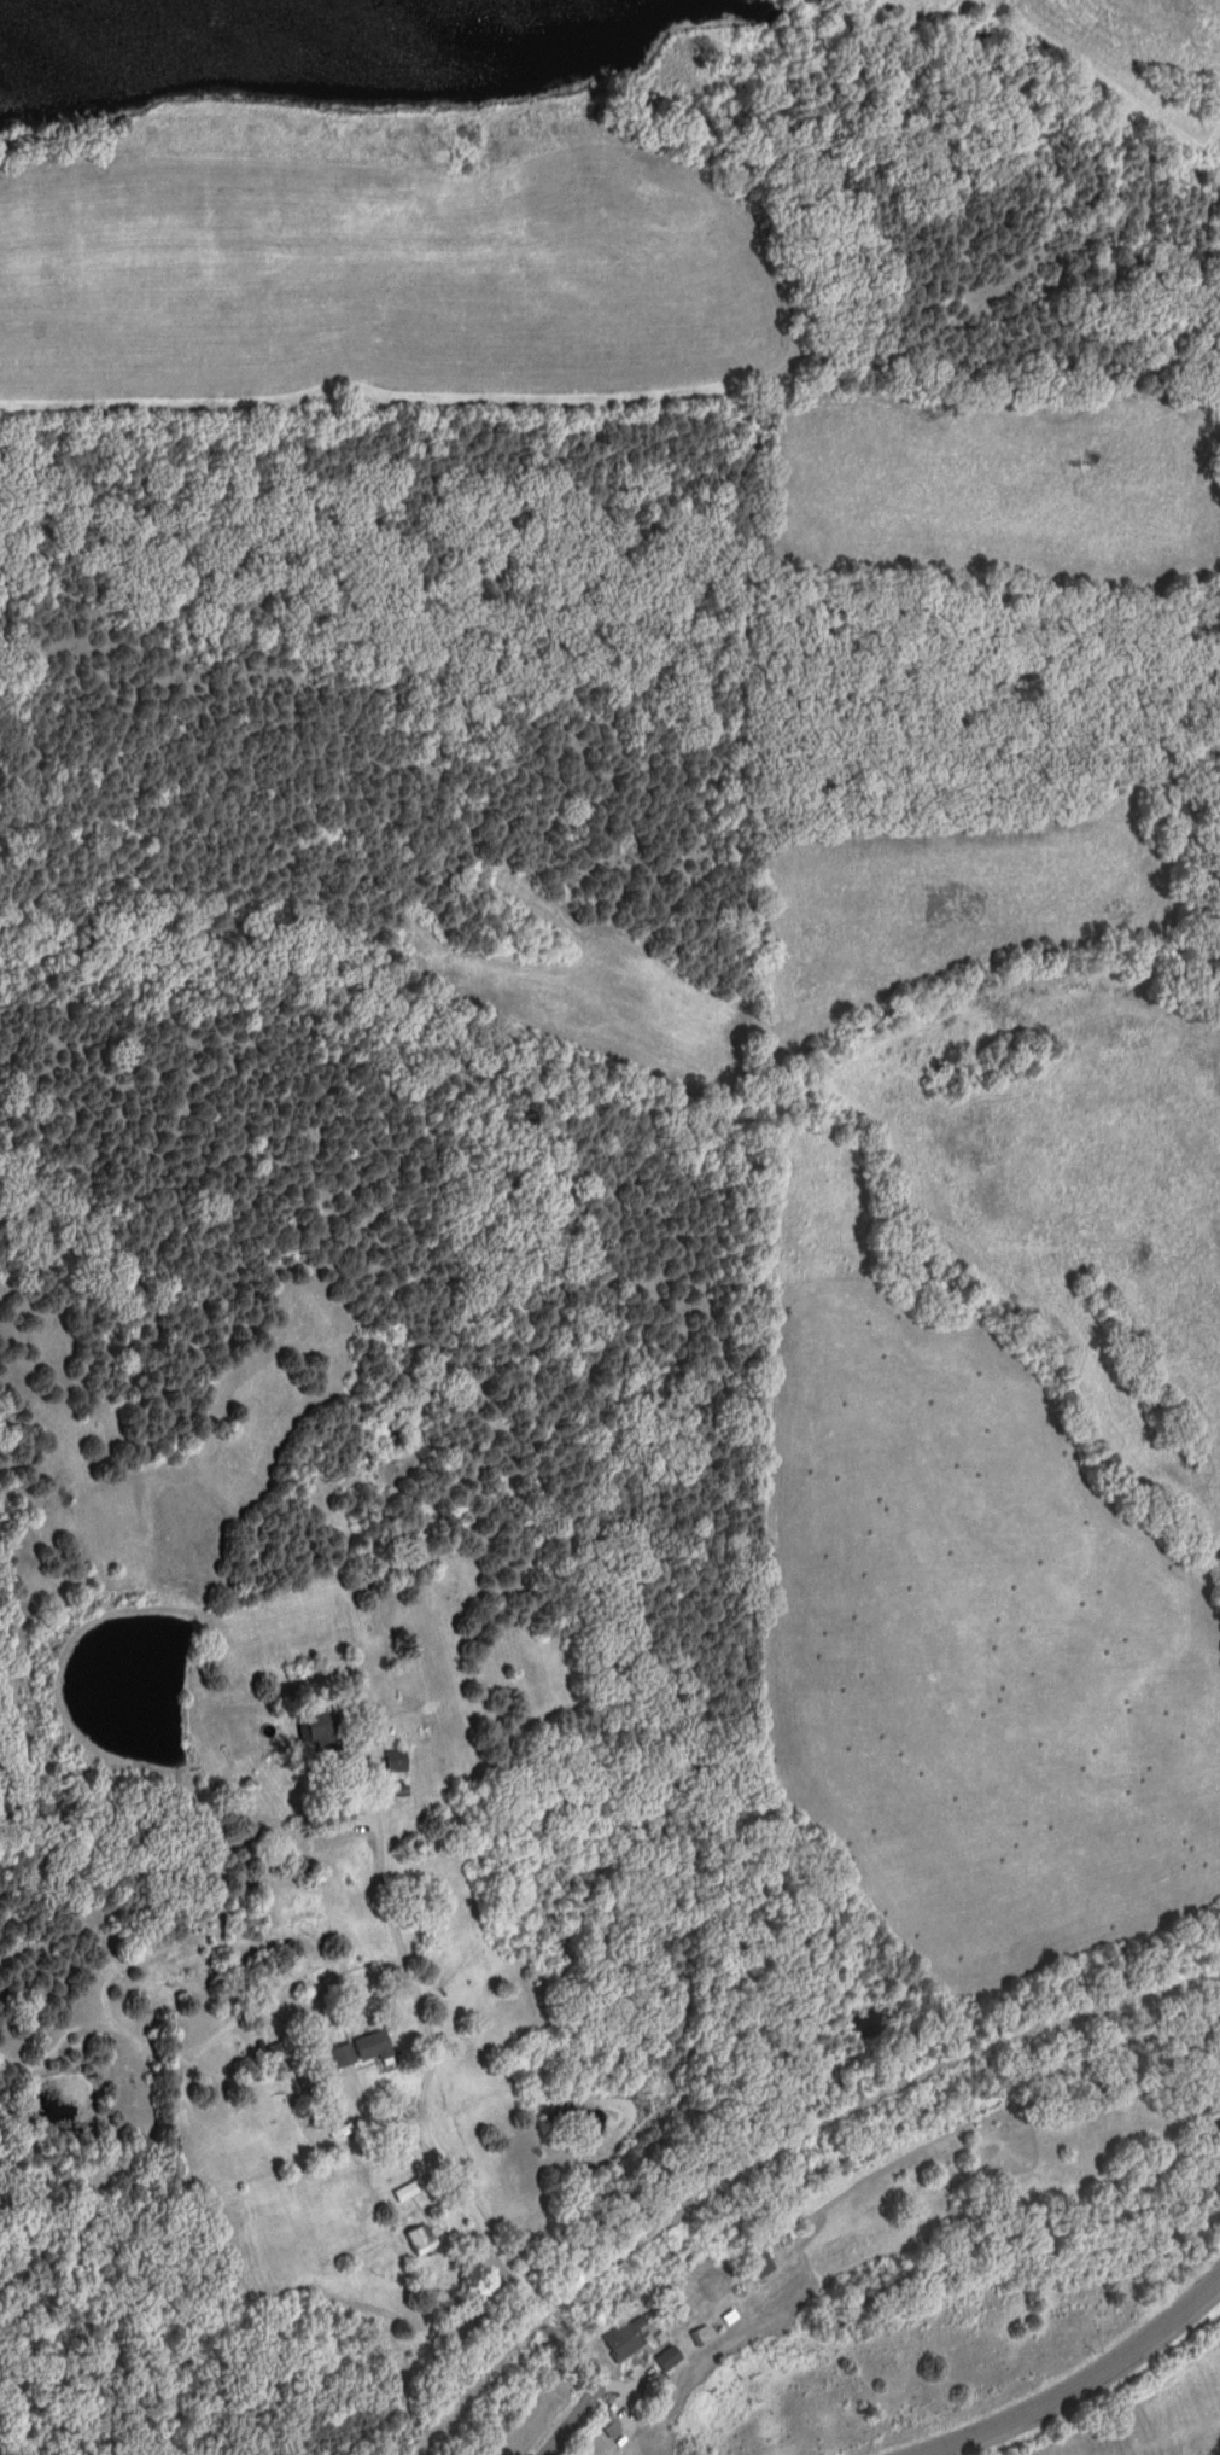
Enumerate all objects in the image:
road: (325, 1704)
building: (323, 1734)
building: (397, 1762)
building: (373, 2047)
building: (344, 2055)
railway: (781, 2152)
building: (409, 2192)
building: (422, 2240)
building: (760, 2263)
building: (702, 2337)
building: (623, 2342)
road: (576, 2344)
building: (670, 2360)
road: (1080, 2385)
road: (593, 2398)

